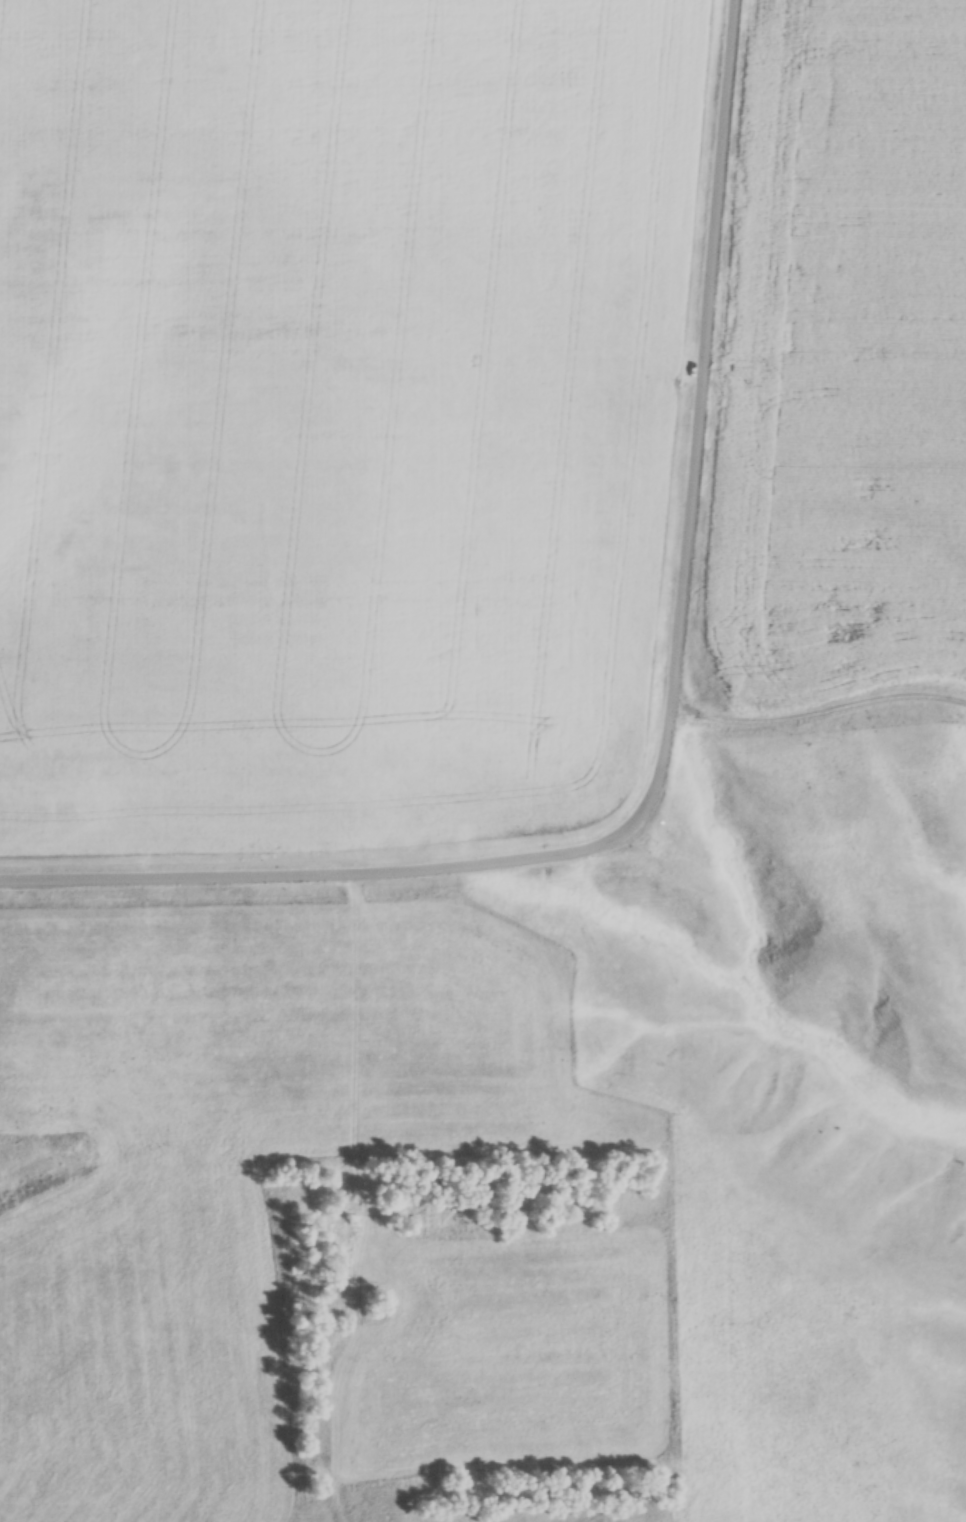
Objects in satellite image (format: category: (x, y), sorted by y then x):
road: (820, 708)
road: (669, 736)

